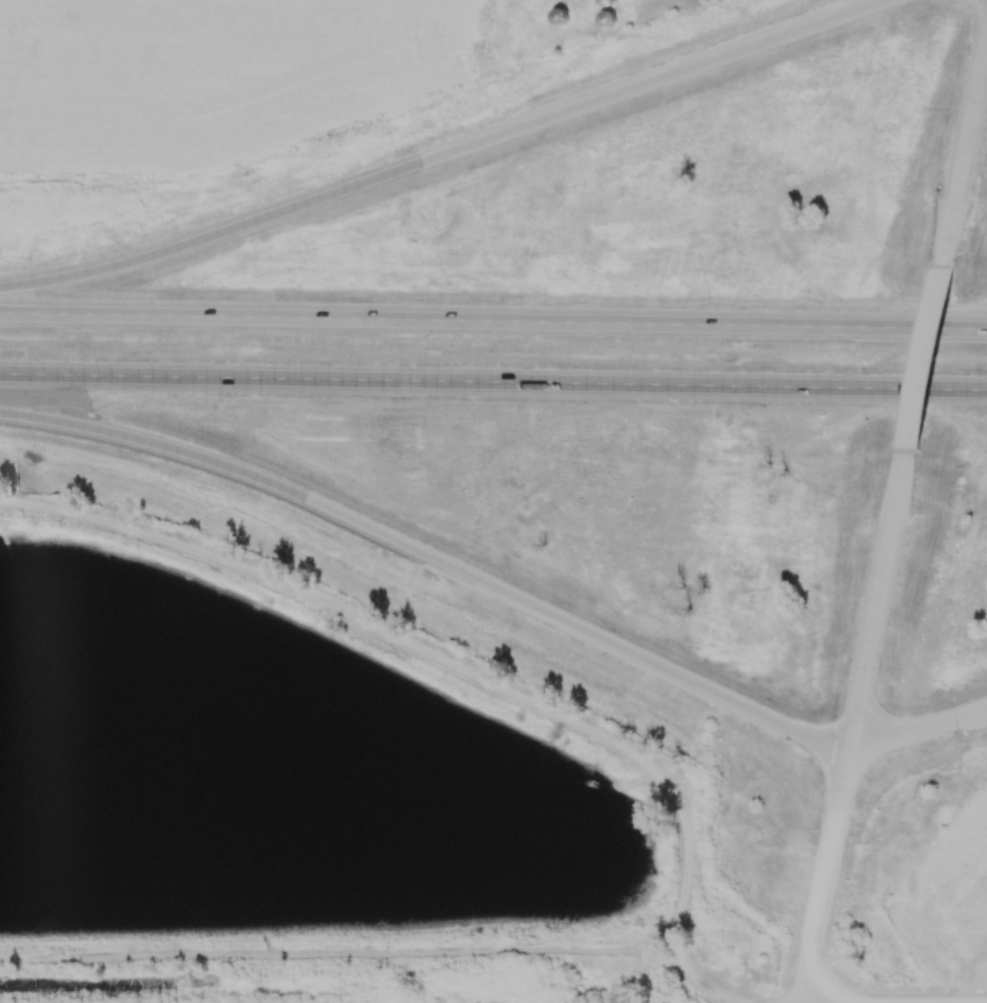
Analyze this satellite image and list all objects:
street lamp: (966, 50)
road: (446, 154)
road: (968, 157)
road: (493, 320)
road: (930, 358)
road: (493, 382)
road: (432, 556)
road: (879, 597)
road: (463, 668)
street lamp: (882, 668)
road: (918, 728)
street lamp: (958, 734)
street lamp: (816, 828)
road: (820, 873)

